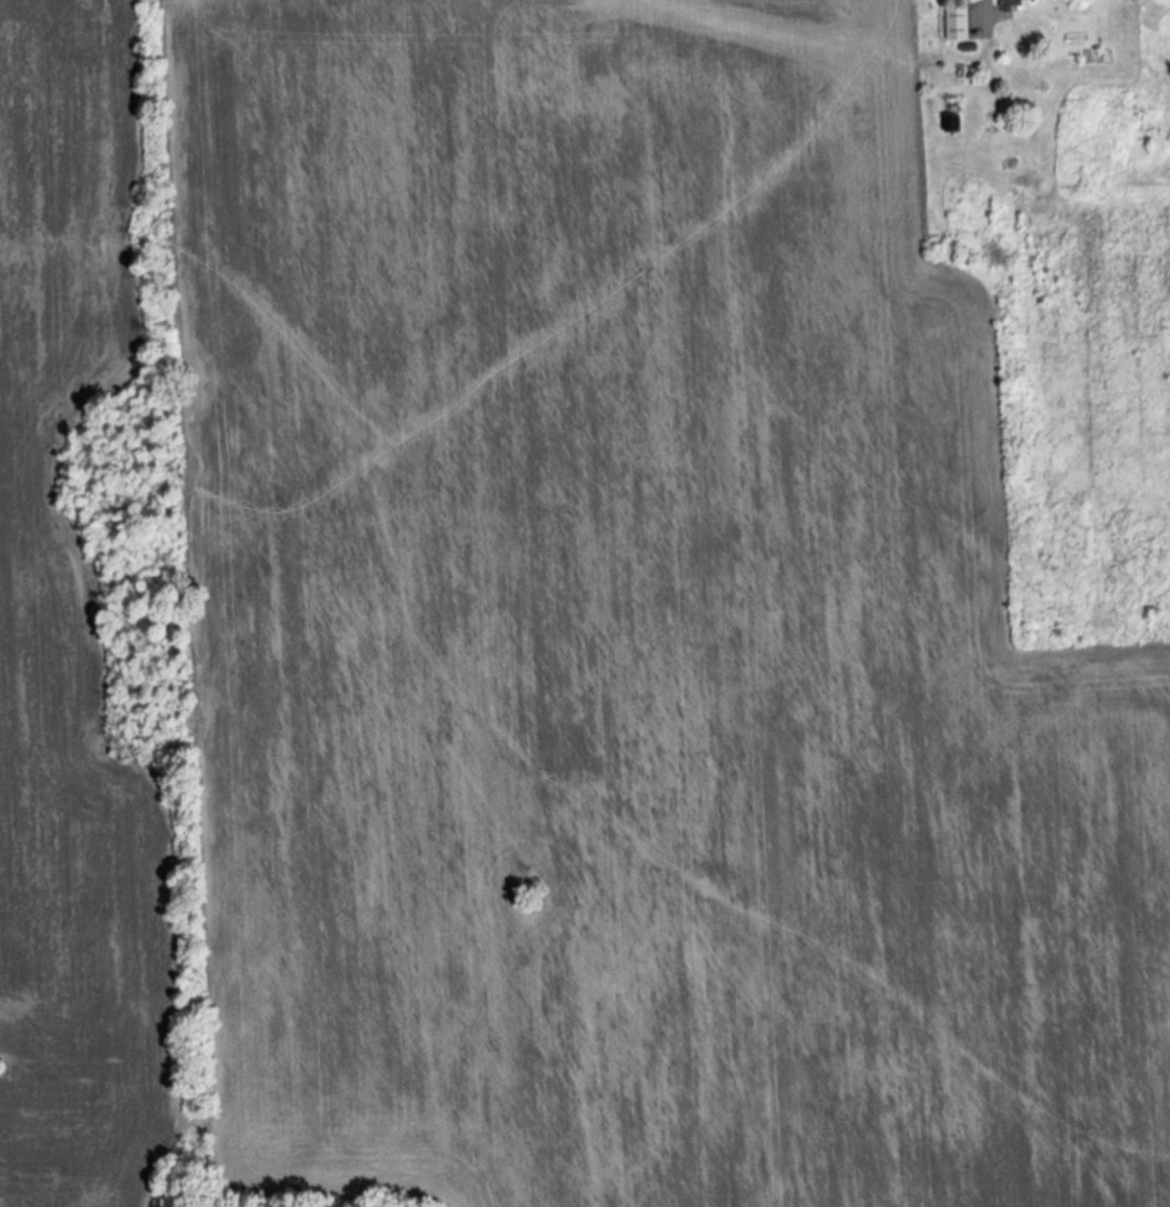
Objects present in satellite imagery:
building: (954, 23)
building: (948, 122)

